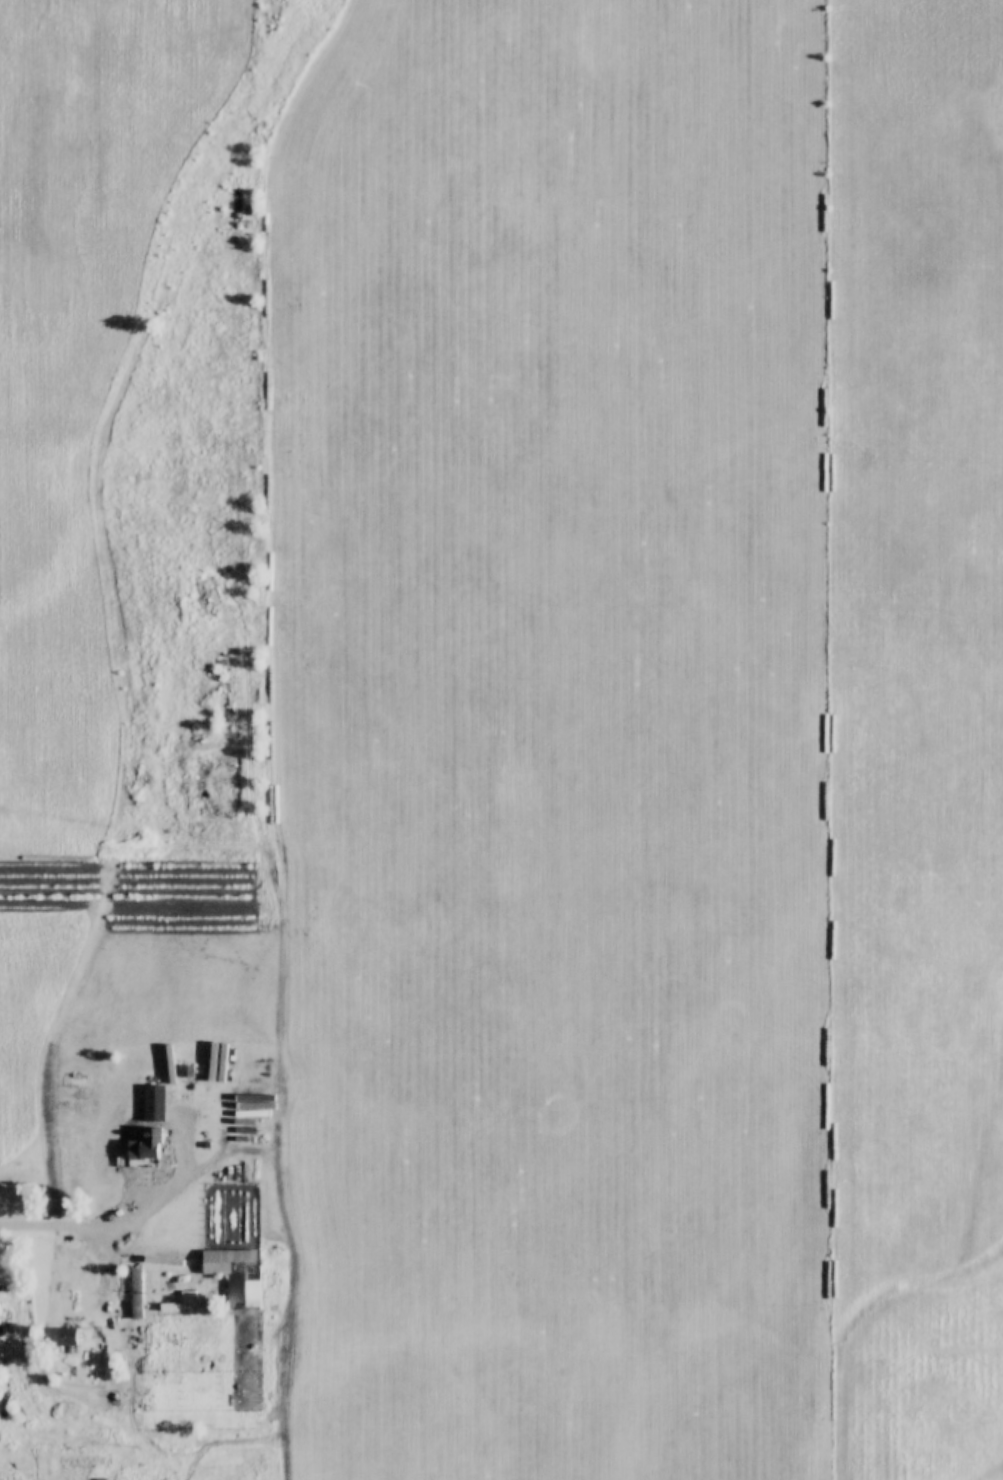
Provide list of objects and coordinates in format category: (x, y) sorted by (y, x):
building: (184, 1073)
building: (143, 1145)
road: (90, 1230)
building: (235, 1276)
building: (135, 1294)
building: (65, 1341)

